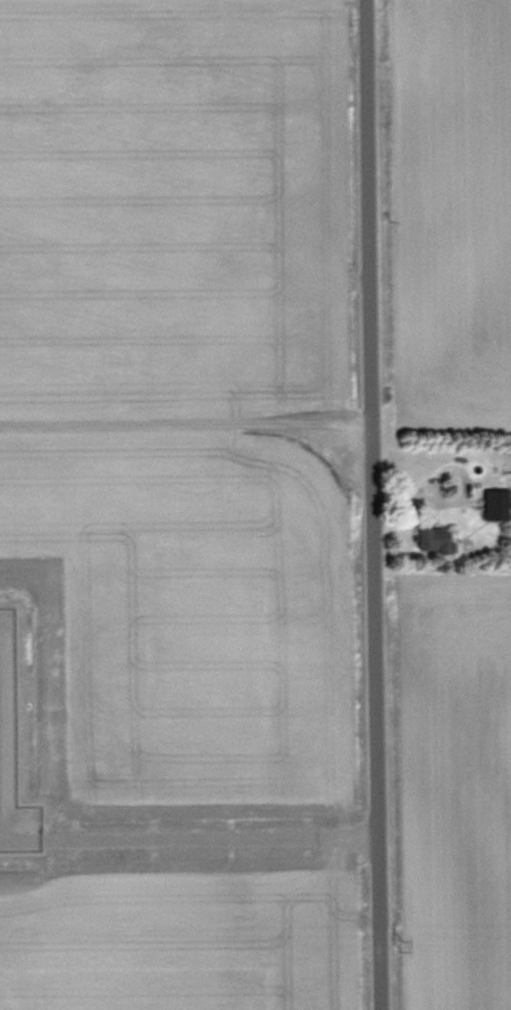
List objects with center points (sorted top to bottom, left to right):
building: (497, 504)
road: (377, 505)
building: (436, 538)
power substation: (16, 752)
road: (217, 843)
road: (25, 845)
power tower: (407, 944)

